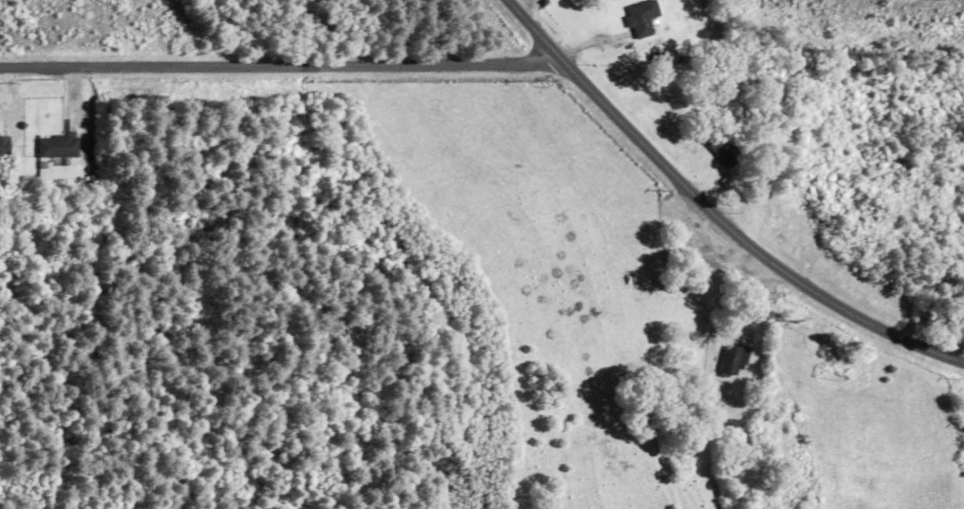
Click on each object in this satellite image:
building: (642, 18)
road: (532, 27)
road: (279, 76)
building: (59, 146)
building: (4, 147)
building: (723, 149)
road: (740, 235)
building: (734, 361)

